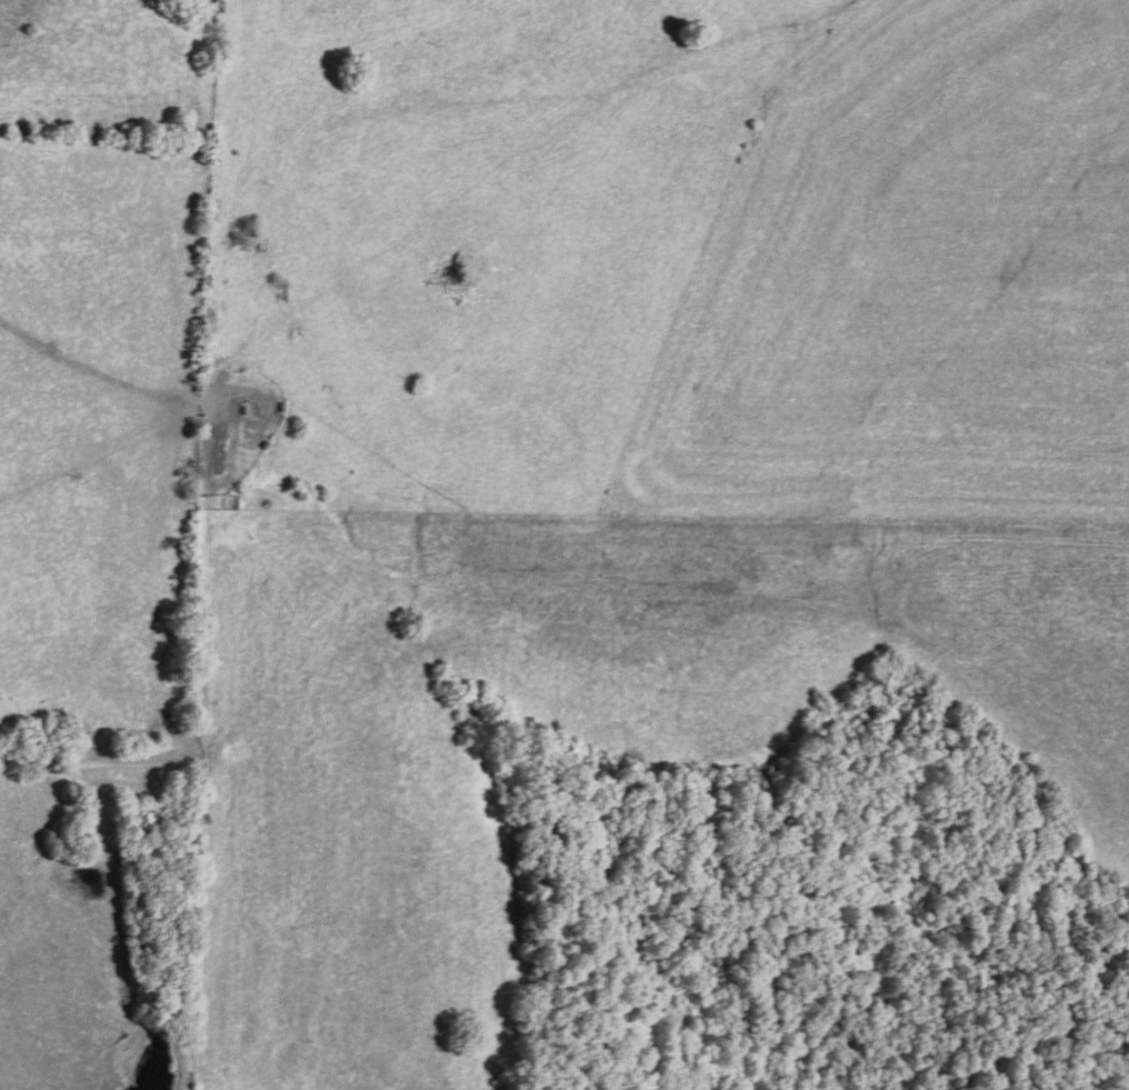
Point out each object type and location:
road: (196, 702)

